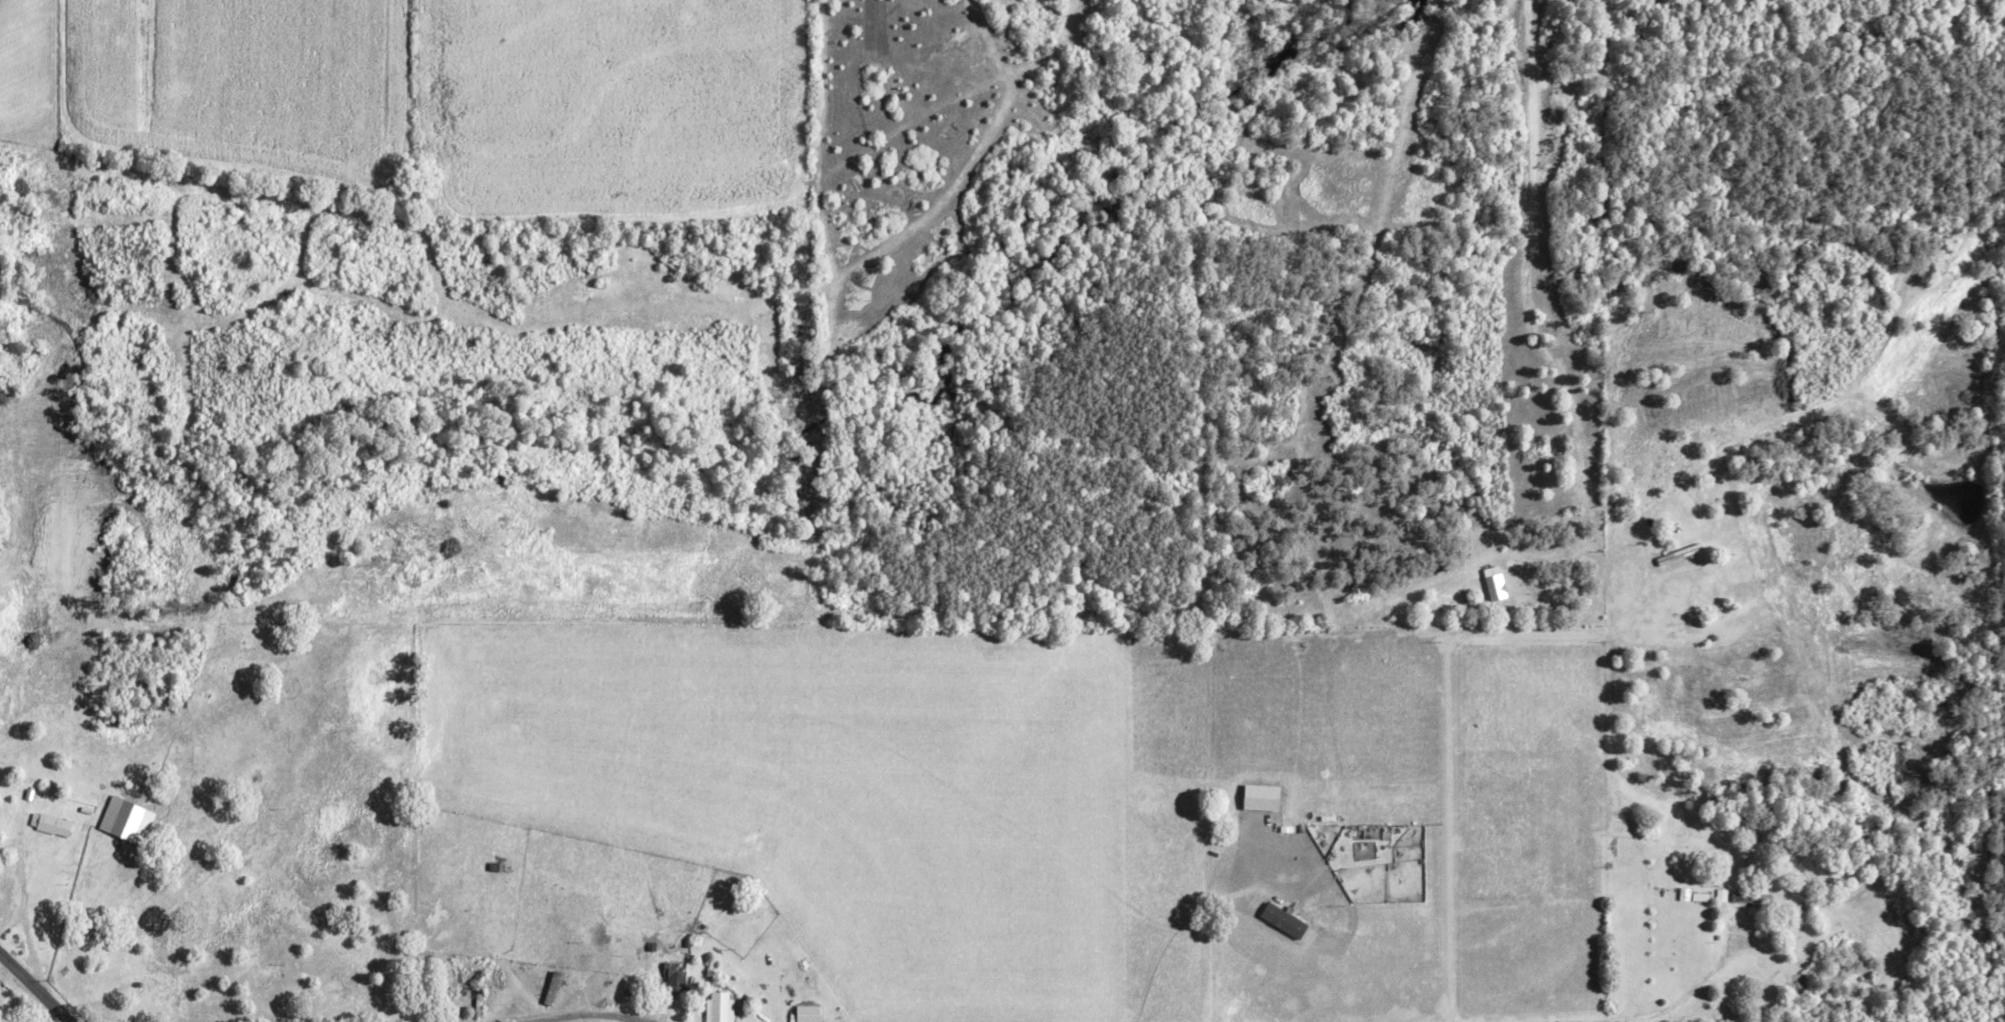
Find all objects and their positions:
building: (1492, 587)
building: (47, 824)
building: (1280, 920)
building: (672, 977)
road: (33, 990)
building: (716, 1006)
building: (805, 1013)
road: (551, 1014)
road: (1647, 1016)

